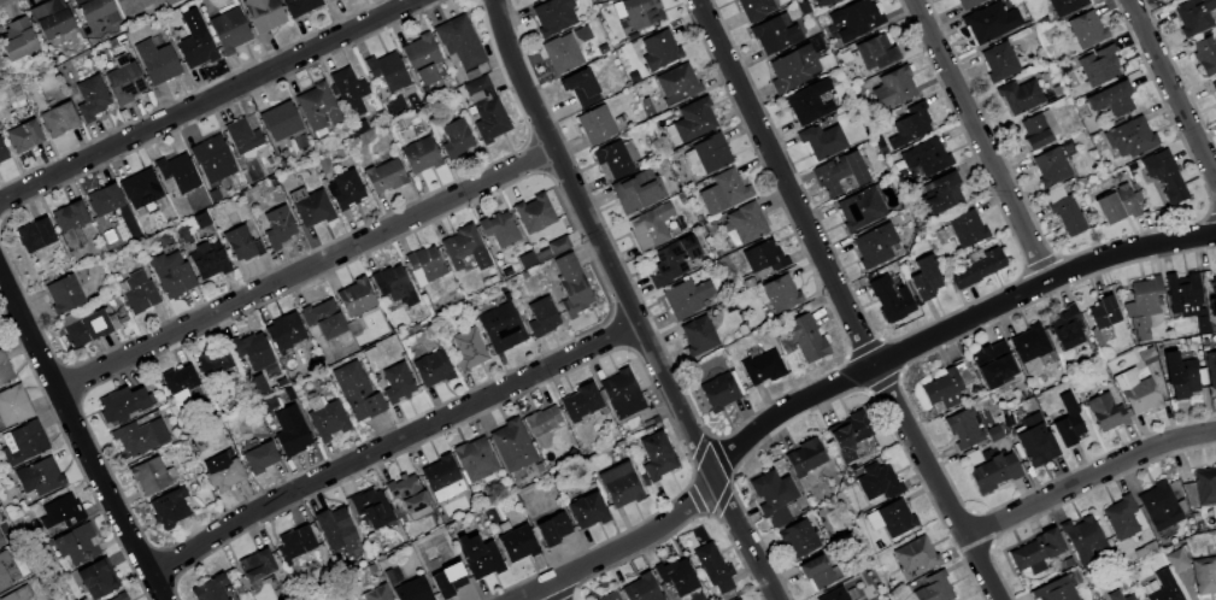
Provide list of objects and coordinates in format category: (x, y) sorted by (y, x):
building: (328, 0)
building: (1169, 0)
building: (826, 2)
building: (970, 4)
building: (134, 5)
building: (299, 6)
building: (1065, 6)
building: (756, 8)
building: (96, 11)
building: (641, 12)
building: (263, 13)
building: (554, 16)
building: (1194, 16)
building: (51, 19)
building: (856, 19)
building: (992, 23)
building: (229, 29)
building: (1086, 29)
building: (774, 35)
building: (18, 40)
building: (460, 41)
building: (196, 49)
building: (659, 49)
building: (560, 53)
building: (875, 53)
building: (1205, 54)
building: (423, 58)
building: (157, 61)
building: (999, 61)
building: (0, 65)
building: (1102, 66)
building: (793, 69)
building: (387, 71)
building: (124, 82)
building: (676, 86)
building: (1215, 86)
building: (582, 87)
building: (893, 88)
road: (1171, 89)
building: (348, 92)
building: (1018, 96)
building: (92, 98)
building: (1112, 99)
road: (207, 100)
building: (809, 102)
building: (318, 106)
building: (487, 110)
building: (59, 118)
building: (694, 119)
building: (281, 120)
building: (597, 124)
building: (910, 125)
building: (359, 128)
building: (1039, 129)
building: (23, 136)
building: (242, 136)
building: (1130, 136)
building: (457, 137)
road: (980, 140)
building: (822, 141)
building: (2, 152)
building: (712, 153)
building: (421, 154)
building: (927, 155)
building: (212, 158)
building: (616, 158)
building: (1051, 166)
building: (177, 172)
building: (839, 172)
building: (386, 175)
building: (1165, 175)
building: (140, 188)
building: (345, 189)
building: (636, 190)
building: (724, 193)
building: (942, 193)
building: (104, 200)
building: (1118, 204)
building: (862, 207)
building: (312, 208)
building: (534, 213)
building: (1068, 214)
building: (70, 216)
building: (201, 219)
building: (746, 222)
building: (278, 227)
building: (651, 227)
building: (500, 228)
building: (963, 229)
building: (35, 235)
building: (242, 243)
building: (559, 243)
building: (875, 243)
building: (460, 245)
building: (541, 253)
building: (764, 257)
building: (208, 259)
building: (527, 259)
building: (674, 259)
building: (427, 263)
building: (976, 266)
road: (304, 270)
building: (507, 271)
building: (170, 273)
building: (493, 278)
building: (924, 278)
building: (394, 284)
building: (572, 284)
building: (139, 292)
building: (781, 293)
building: (64, 294)
building: (356, 296)
building: (687, 296)
building: (889, 299)
building: (1186, 299)
road: (627, 302)
road: (842, 302)
building: (1212, 302)
building: (1142, 305)
building: (1104, 312)
building: (542, 317)
building: (323, 319)
building: (353, 327)
building: (501, 327)
building: (1067, 327)
building: (87, 328)
building: (286, 331)
building: (699, 335)
building: (807, 337)
building: (1033, 347)
building: (252, 349)
building: (468, 349)
building: (994, 364)
building: (216, 365)
building: (1211, 366)
building: (433, 367)
building: (763, 367)
building: (5, 369)
building: (1180, 375)
building: (181, 378)
road: (842, 380)
building: (398, 382)
building: (255, 384)
building: (944, 388)
building: (357, 390)
building: (1136, 390)
building: (719, 392)
building: (622, 394)
building: (588, 396)
building: (123, 404)
building: (13, 405)
building: (572, 407)
building: (1106, 411)
building: (327, 417)
building: (542, 420)
building: (1067, 422)
building: (963, 428)
building: (290, 431)
building: (994, 433)
building: (851, 434)
building: (141, 436)
road: (77, 439)
building: (1034, 440)
building: (23, 442)
road: (389, 443)
building: (512, 445)
building: (657, 454)
building: (259, 457)
building: (805, 457)
building: (475, 459)
building: (440, 472)
building: (994, 472)
building: (223, 473)
building: (40, 476)
building: (149, 476)
road: (1087, 477)
building: (879, 481)
building: (621, 484)
building: (1205, 486)
building: (405, 494)
building: (774, 496)
building: (1159, 506)
building: (371, 507)
building: (170, 508)
building: (588, 510)
building: (63, 512)
building: (1122, 517)
building: (892, 518)
building: (334, 527)
building: (552, 529)
building: (799, 537)
building: (1083, 539)
building: (1, 542)
building: (295, 542)
building: (1051, 542)
building: (517, 543)
building: (78, 545)
building: (916, 554)
building: (480, 557)
building: (1028, 558)
building: (1177, 560)
building: (257, 565)
building: (713, 566)
building: (6, 570)
building: (817, 572)
building: (1205, 575)
building: (676, 576)
building: (98, 578)
building: (447, 581)
building: (934, 587)
building: (642, 588)
building: (1164, 588)
building: (210, 589)
building: (412, 590)
building: (1056, 590)
road: (551, 592)
building: (376, 593)
building: (18, 594)
building: (834, 594)
building: (611, 595)
building: (1120, 595)
building: (121, 596)
building: (735, 599)
building: (739, 599)

